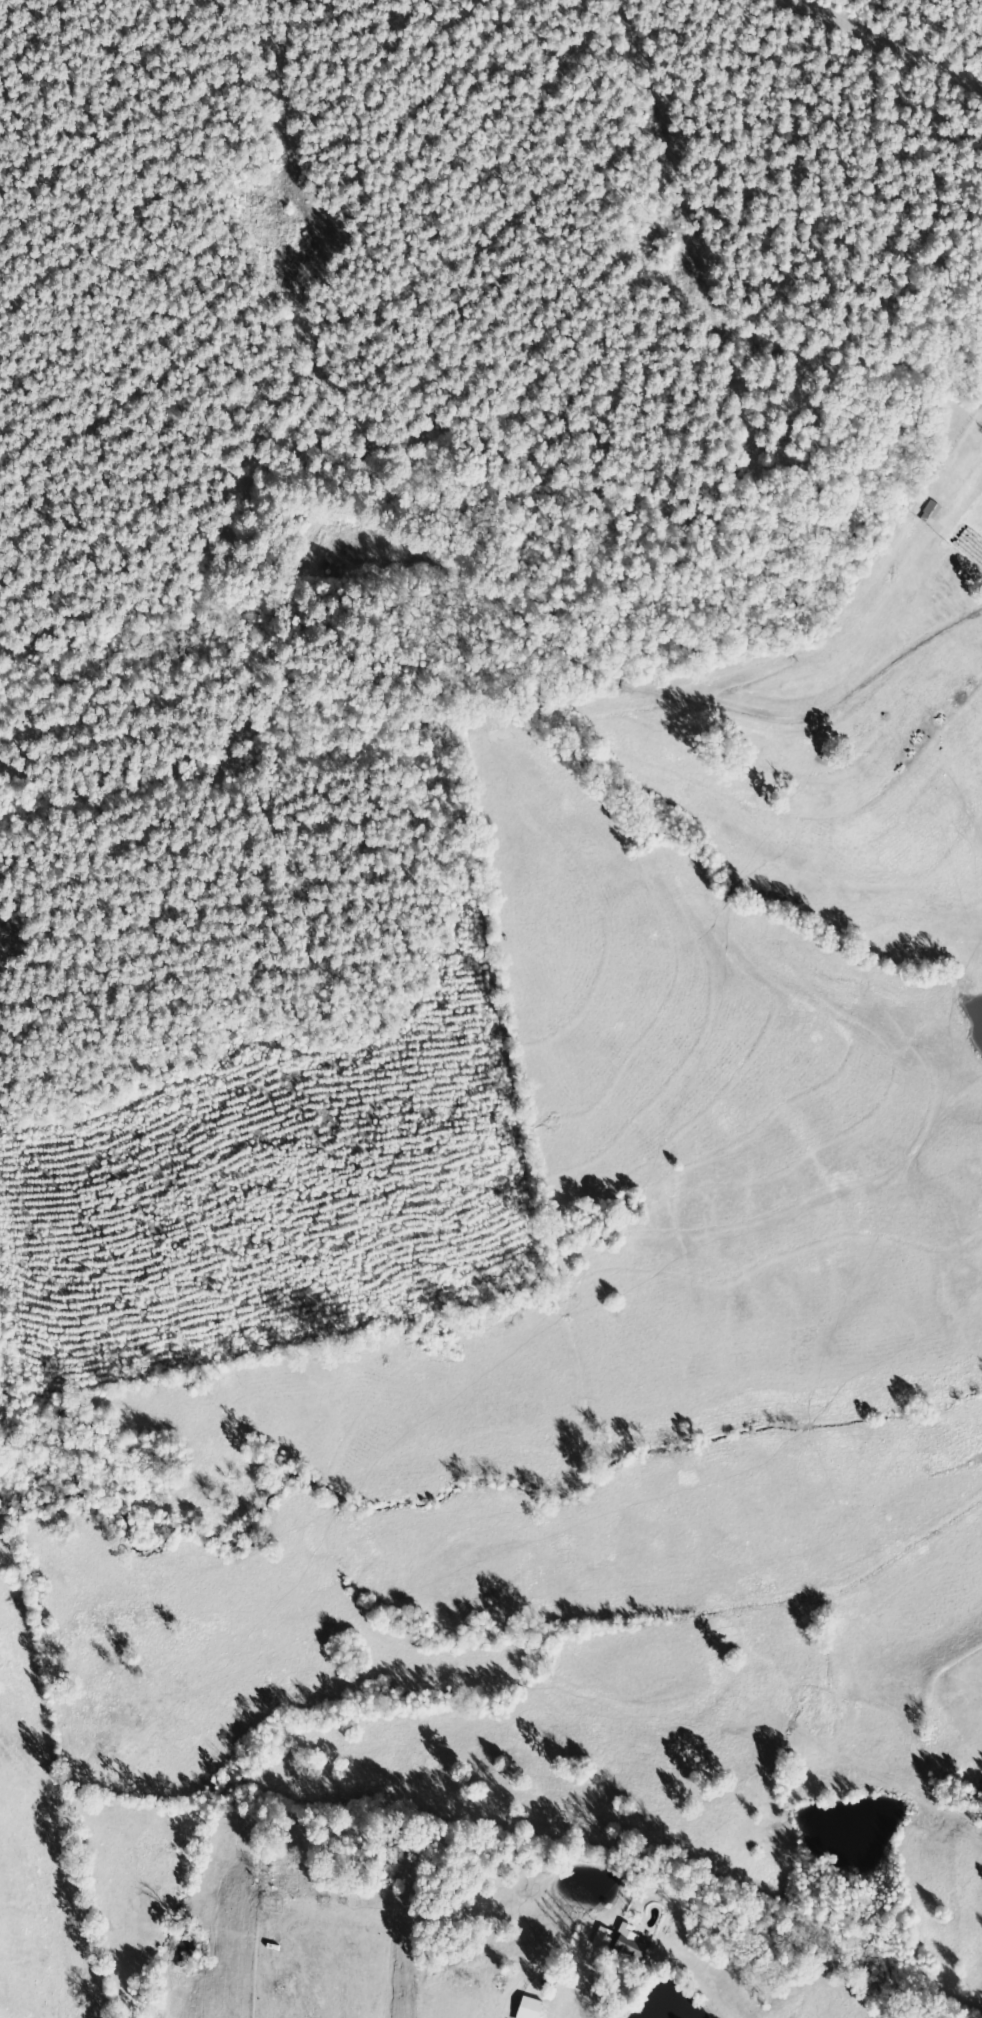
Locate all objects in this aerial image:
building: (935, 510)
building: (634, 1942)
building: (533, 2008)

